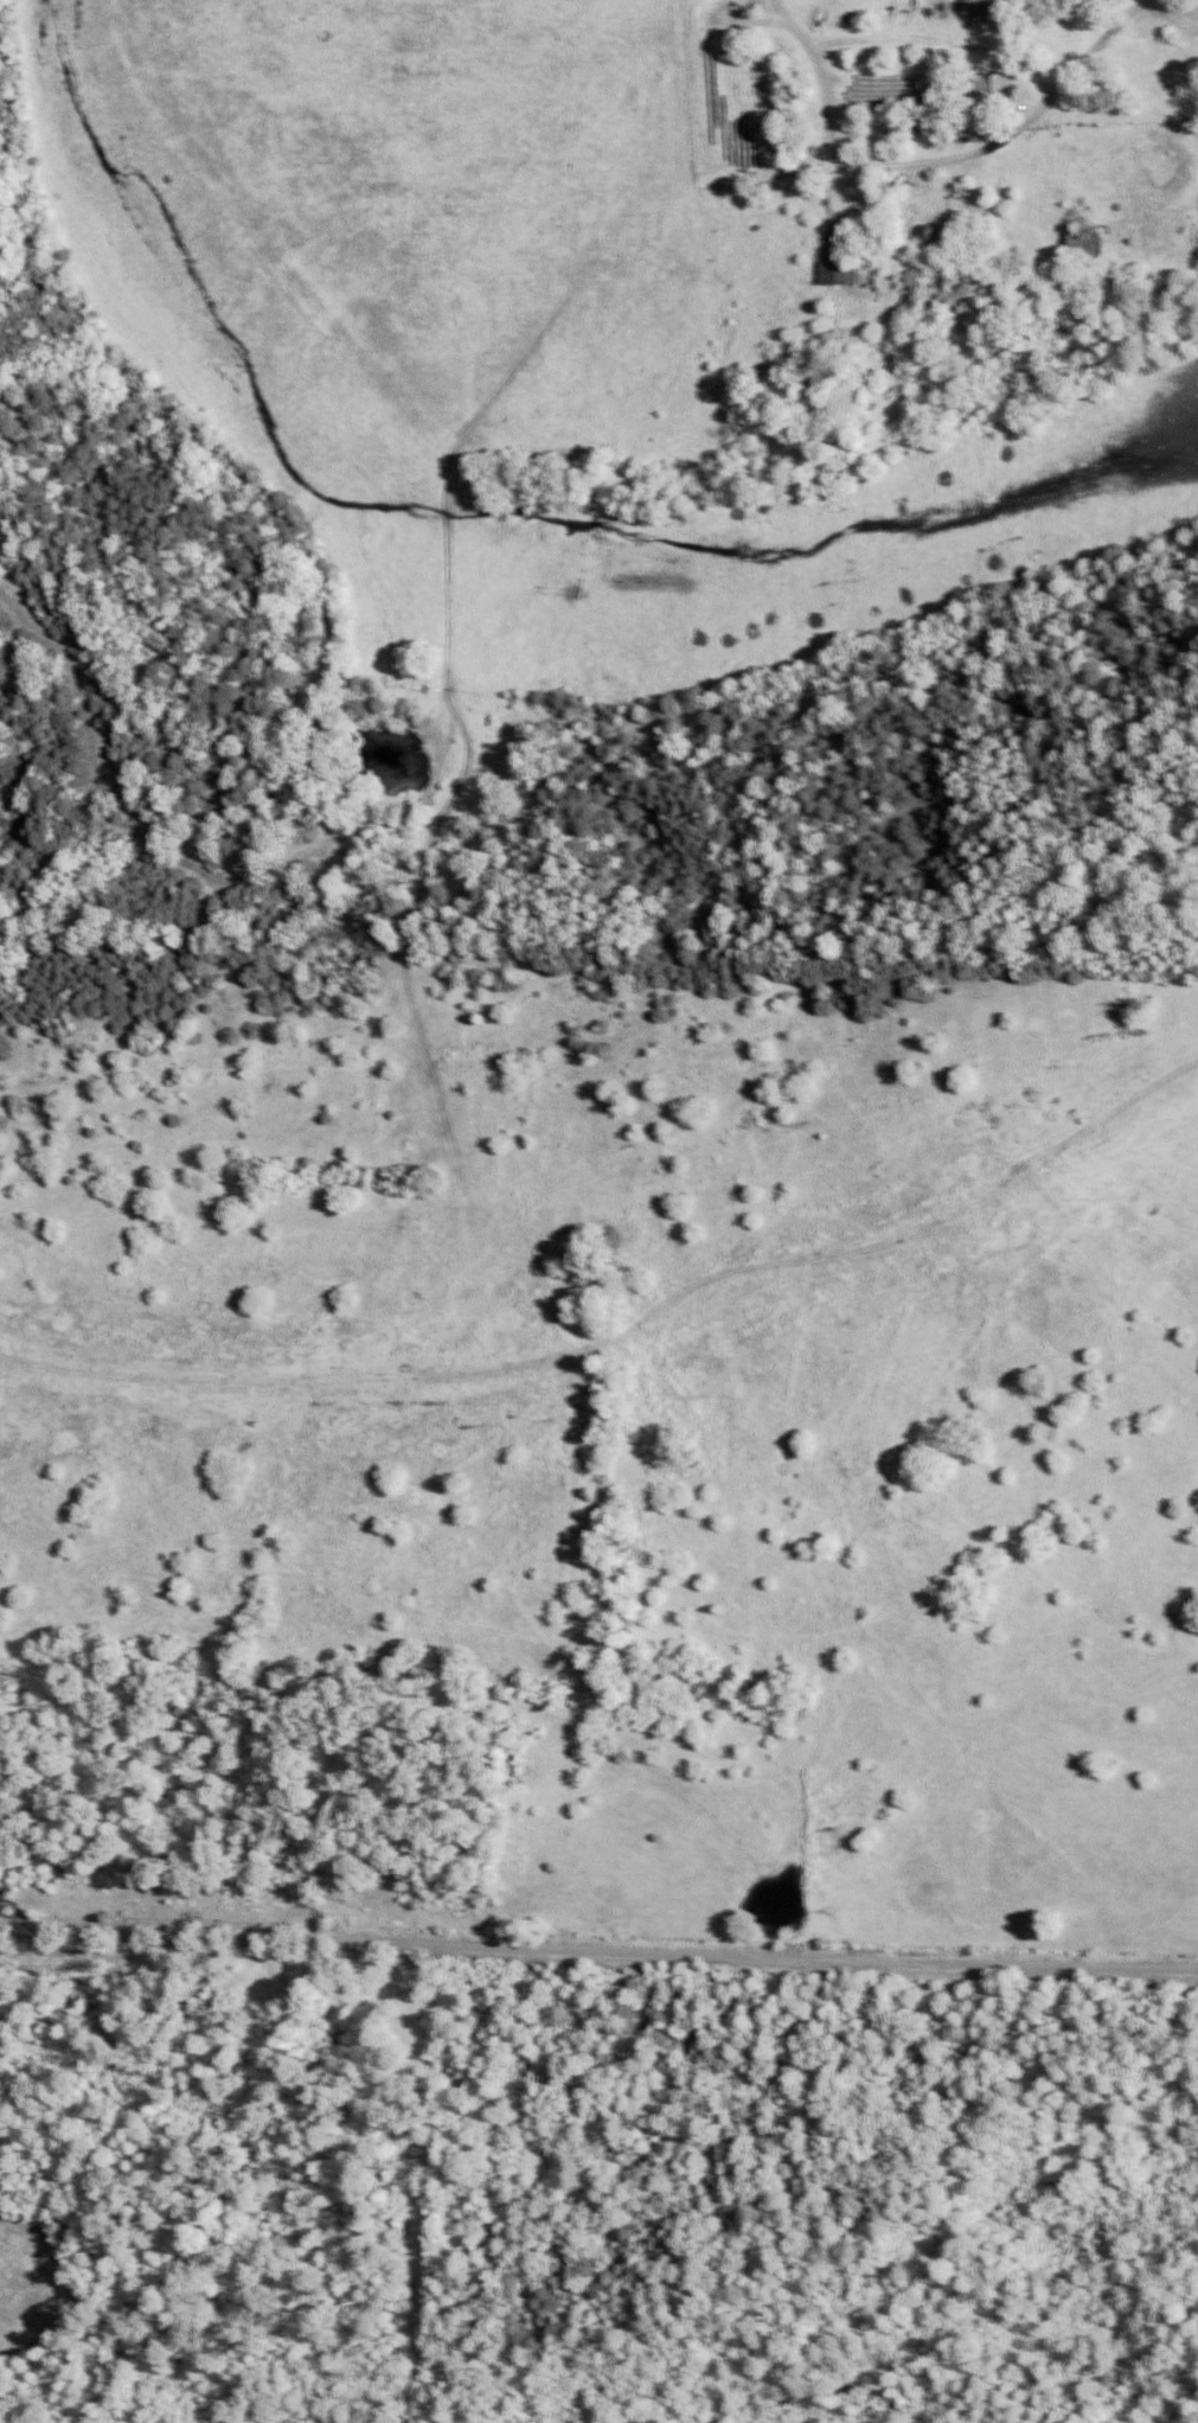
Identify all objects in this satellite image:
building: (994, 92)
building: (1084, 249)
building: (838, 264)
road: (598, 1957)

